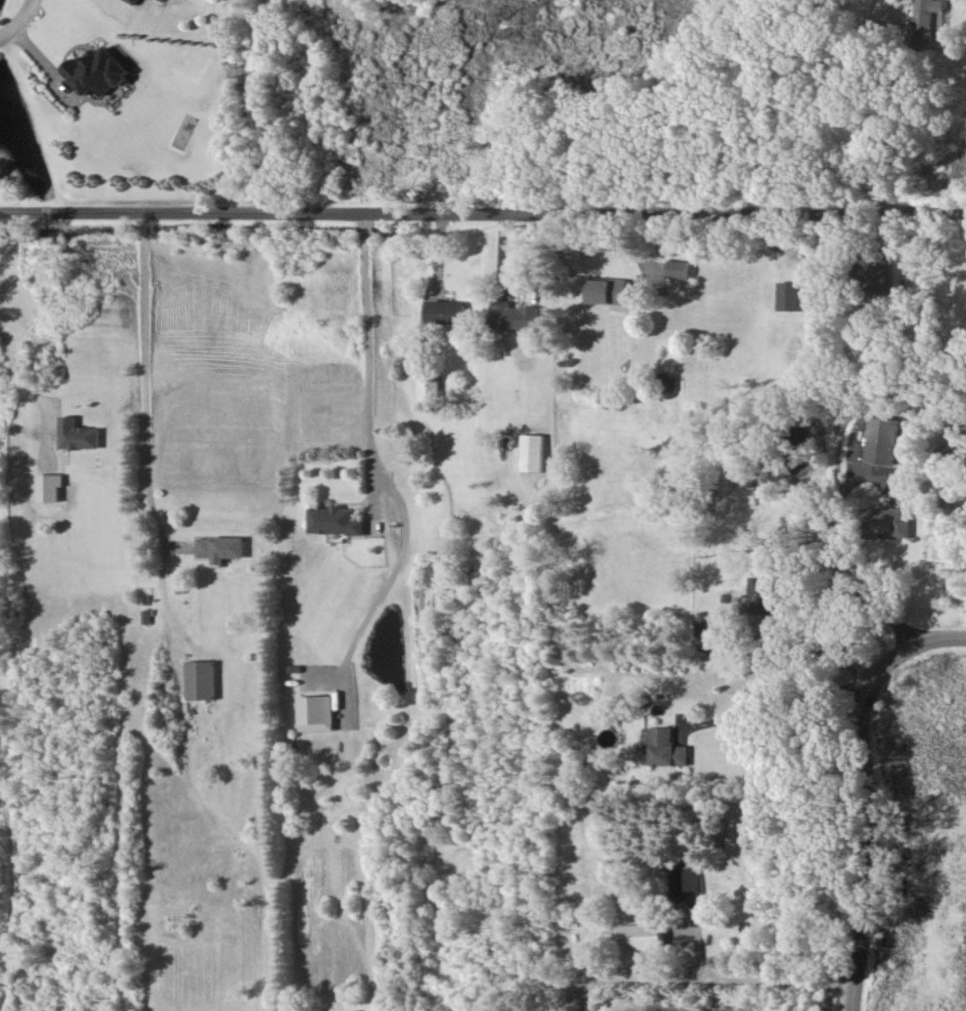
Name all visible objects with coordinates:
building: (138, 1)
road: (15, 18)
building: (926, 21)
building: (99, 71)
road: (792, 114)
road: (482, 216)
road: (1, 235)
building: (679, 268)
building: (878, 278)
building: (610, 290)
building: (792, 295)
building: (448, 311)
building: (517, 316)
road: (368, 351)
road: (15, 370)
road: (145, 381)
building: (429, 389)
building: (78, 434)
building: (881, 439)
building: (948, 451)
building: (534, 452)
building: (50, 486)
building: (337, 520)
building: (890, 522)
building: (221, 548)
road: (817, 551)
building: (764, 596)
building: (704, 623)
building: (199, 679)
road: (774, 702)
building: (316, 712)
building: (669, 748)
road: (861, 780)
building: (684, 880)
building: (640, 936)
road: (704, 978)

